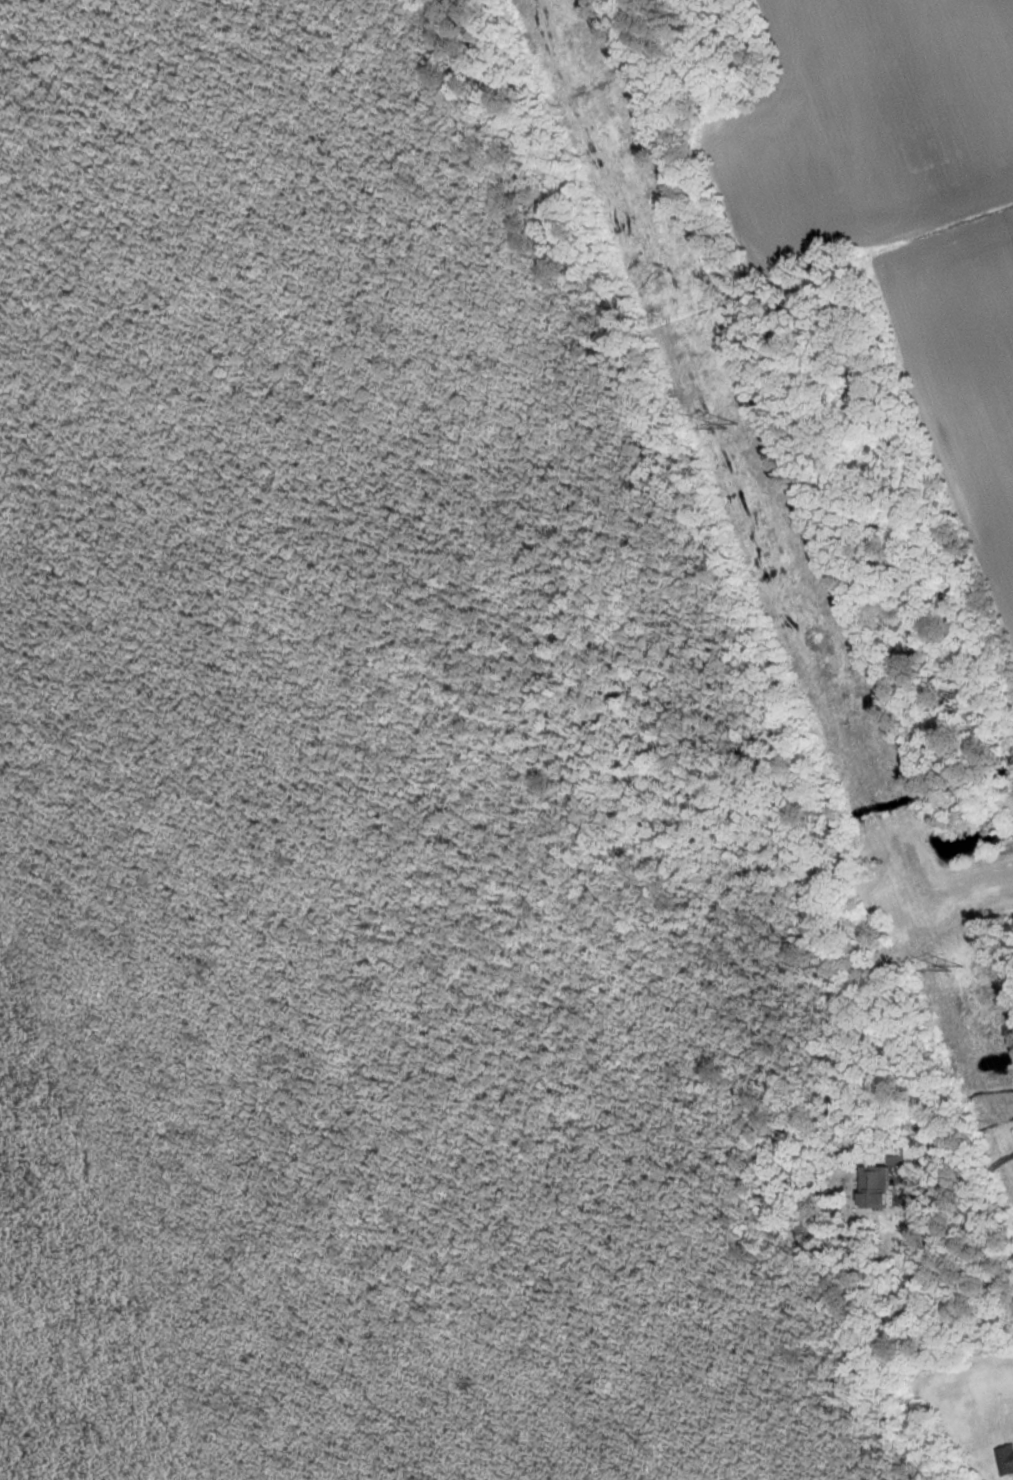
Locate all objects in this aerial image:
power tower: (731, 425)
power tower: (956, 970)
building: (1006, 1458)

